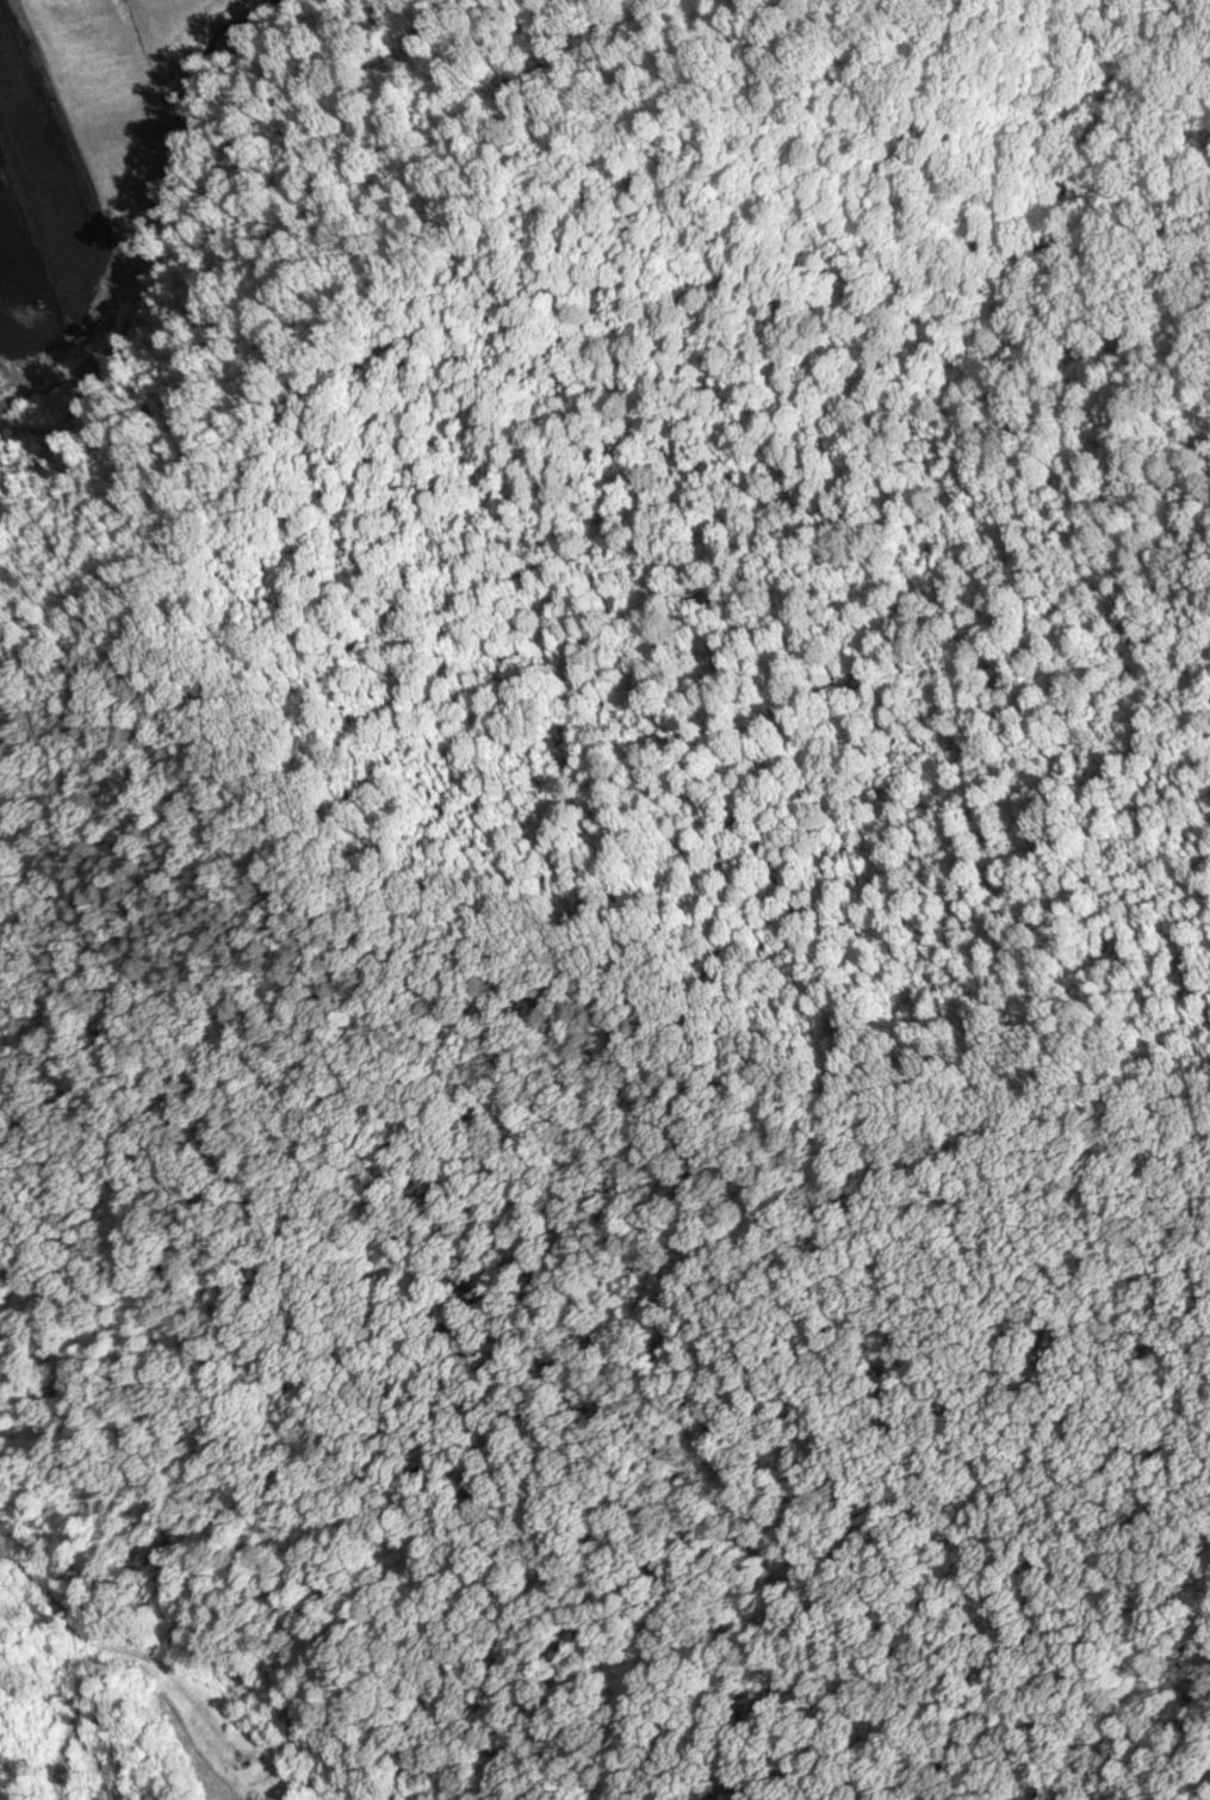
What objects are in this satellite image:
quarry: (76, 155)

